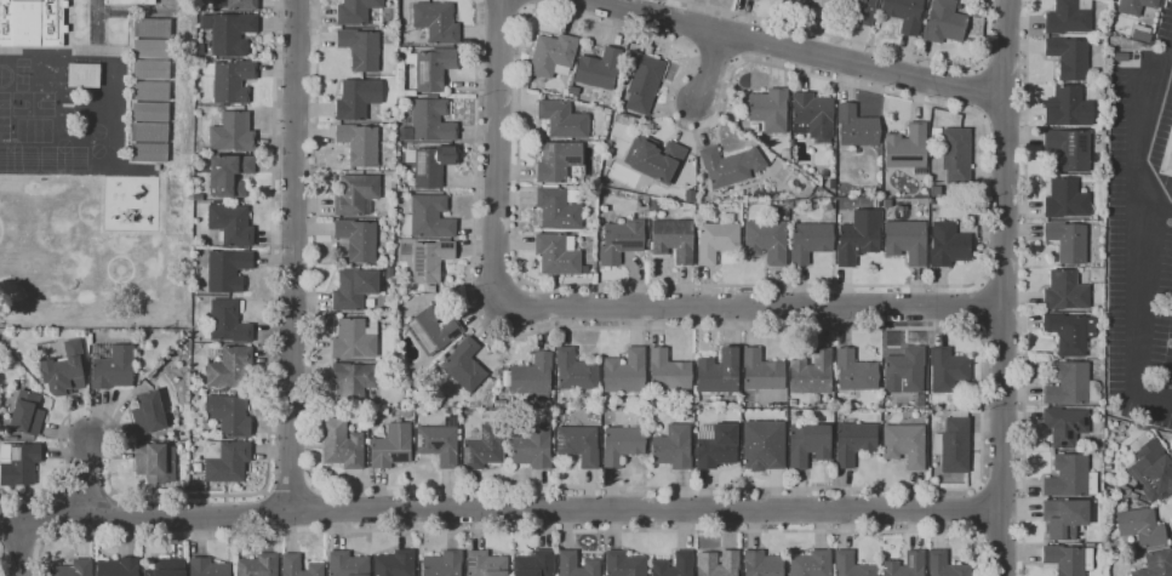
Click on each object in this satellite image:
building: (130, 1)
road: (513, 2)
building: (236, 4)
building: (1134, 6)
building: (818, 7)
road: (525, 8)
building: (859, 10)
building: (355, 11)
building: (903, 13)
building: (1068, 17)
building: (32, 22)
building: (435, 22)
building: (947, 23)
building: (151, 27)
building: (228, 33)
building: (1140, 34)
road: (862, 42)
building: (150, 49)
building: (360, 49)
road: (797, 50)
road: (692, 52)
building: (551, 55)
road: (715, 55)
building: (1120, 56)
building: (1068, 57)
road: (737, 61)
building: (431, 67)
road: (979, 67)
road: (710, 68)
building: (150, 69)
building: (598, 69)
building: (82, 74)
building: (230, 80)
building: (641, 81)
road: (854, 85)
building: (150, 92)
road: (983, 92)
building: (356, 98)
park: (5, 104)
park: (34, 104)
building: (1067, 107)
building: (768, 109)
building: (812, 116)
road: (982, 118)
building: (561, 119)
building: (425, 120)
building: (854, 127)
park: (5, 130)
building: (231, 132)
building: (148, 141)
building: (791, 142)
building: (359, 144)
building: (907, 148)
road: (496, 149)
building: (1069, 149)
building: (784, 153)
building: (955, 154)
building: (654, 158)
building: (558, 160)
building: (1170, 160)
building: (430, 164)
building: (731, 165)
building: (228, 173)
building: (823, 173)
building: (831, 183)
building: (355, 194)
building: (690, 195)
building: (198, 196)
building: (1065, 199)
building: (932, 200)
building: (225, 203)
road: (1159, 204)
building: (559, 206)
building: (828, 206)
building: (428, 217)
building: (230, 224)
parking lot: (1142, 235)
building: (857, 236)
building: (356, 239)
building: (673, 239)
building: (716, 239)
building: (621, 240)
building: (766, 240)
building: (810, 240)
building: (905, 241)
building: (1067, 241)
building: (646, 243)
road: (1145, 243)
building: (947, 245)
building: (556, 253)
road: (292, 256)
building: (429, 260)
building: (222, 268)
road: (981, 284)
road: (1004, 287)
road: (1024, 287)
building: (353, 289)
building: (1065, 291)
road: (983, 307)
road: (750, 308)
building: (227, 321)
building: (431, 329)
road: (981, 331)
building: (1069, 332)
building: (354, 338)
building: (464, 364)
building: (110, 366)
building: (229, 366)
building: (64, 370)
building: (574, 370)
building: (668, 370)
building: (761, 370)
building: (719, 371)
building: (854, 371)
building: (903, 371)
building: (948, 371)
building: (624, 372)
building: (811, 373)
building: (532, 376)
building: (351, 381)
building: (1070, 384)
building: (194, 395)
building: (791, 401)
building: (25, 414)
building: (148, 414)
building: (228, 415)
building: (1065, 424)
building: (1120, 437)
building: (161, 438)
building: (853, 441)
building: (439, 443)
building: (953, 443)
building: (342, 444)
building: (578, 444)
building: (622, 444)
building: (807, 444)
building: (904, 444)
building: (391, 445)
building: (715, 445)
building: (762, 445)
building: (484, 446)
building: (533, 446)
building: (673, 446)
road: (269, 455)
building: (225, 460)
building: (18, 462)
building: (154, 462)
building: (1151, 472)
building: (1070, 475)
road: (87, 477)
building: (196, 485)
road: (290, 487)
road: (893, 489)
building: (1124, 489)
building: (1133, 495)
road: (501, 509)
building: (1064, 518)
building: (1140, 526)
road: (514, 530)
road: (22, 543)
building: (1090, 544)
road: (18, 547)
building: (1068, 559)
building: (394, 563)
building: (567, 563)
building: (762, 563)
building: (347, 564)
building: (442, 564)
building: (485, 564)
building: (534, 564)
building: (624, 564)
building: (684, 564)
building: (718, 564)
building: (811, 564)
building: (1156, 564)
building: (258, 565)
building: (852, 565)
building: (905, 565)
building: (944, 565)
building: (118, 566)
building: (291, 566)
building: (166, 568)
building: (207, 568)
building: (73, 569)

